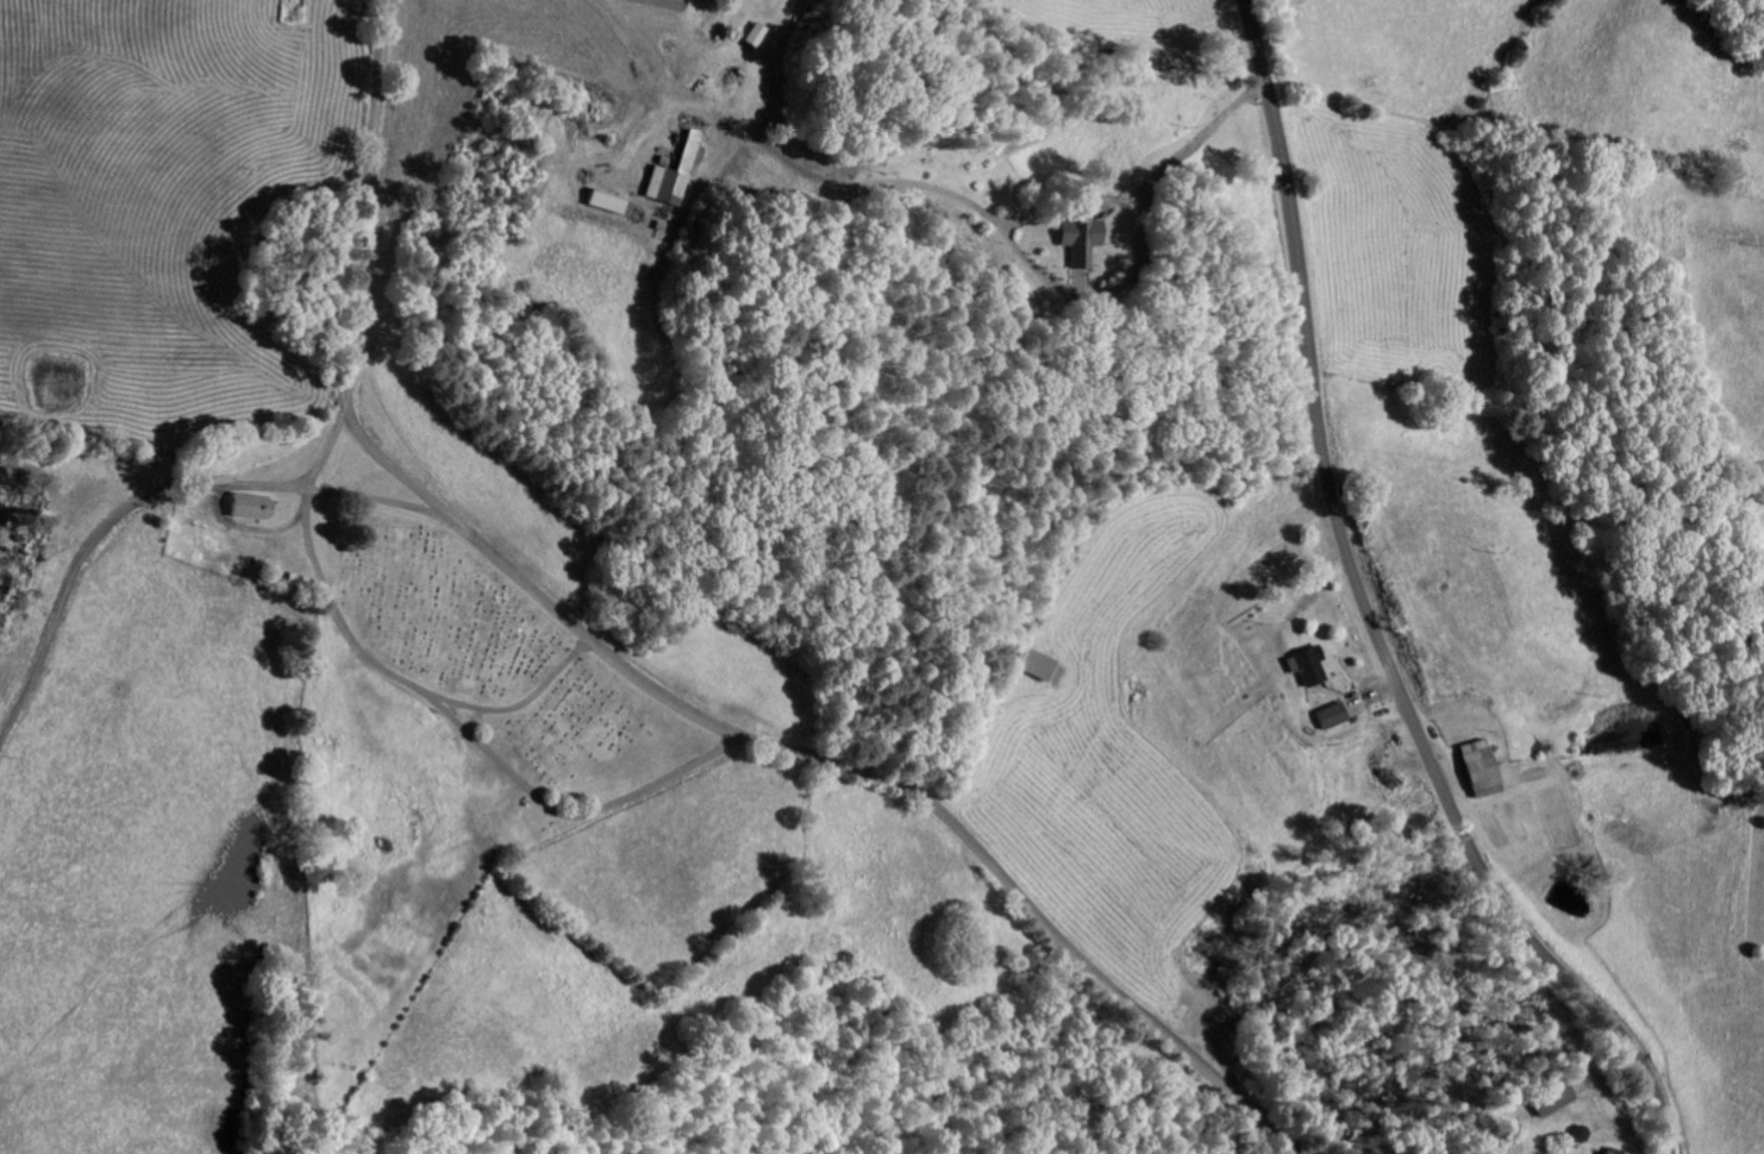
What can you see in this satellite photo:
building: (750, 38)
building: (671, 177)
building: (1074, 240)
road: (379, 504)
building: (243, 509)
road: (131, 510)
road: (1368, 612)
building: (1033, 669)
building: (1300, 669)
road: (644, 683)
road: (399, 684)
building: (1326, 720)
building: (1474, 772)
road: (571, 817)
building: (1600, 1153)

